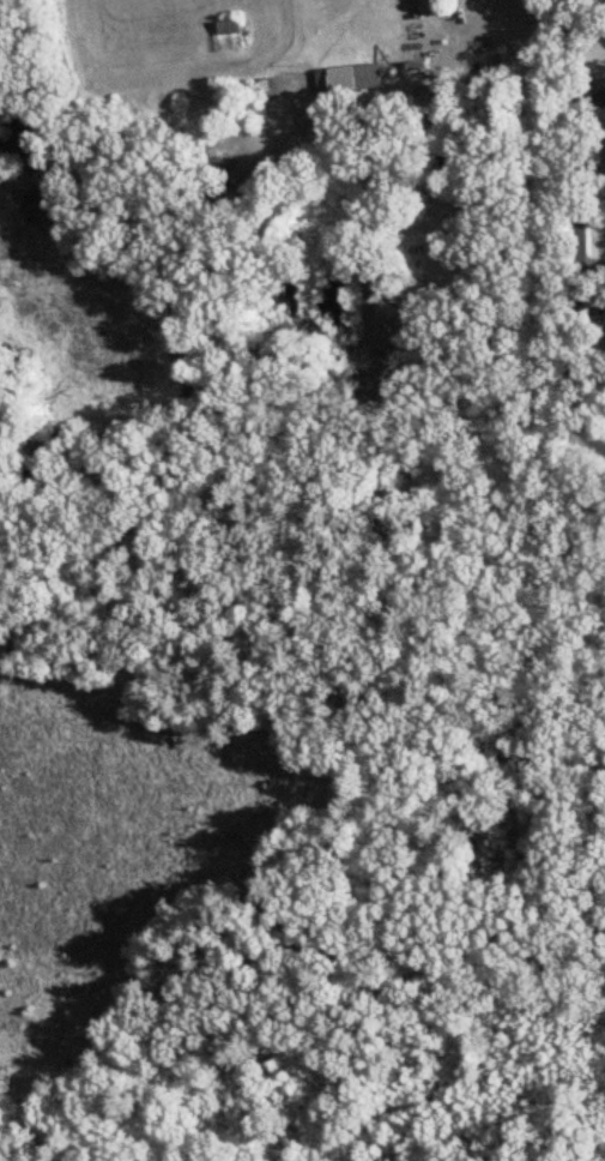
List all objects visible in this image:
road: (521, 28)
building: (230, 29)
road: (458, 38)
building: (349, 80)
road: (575, 236)

